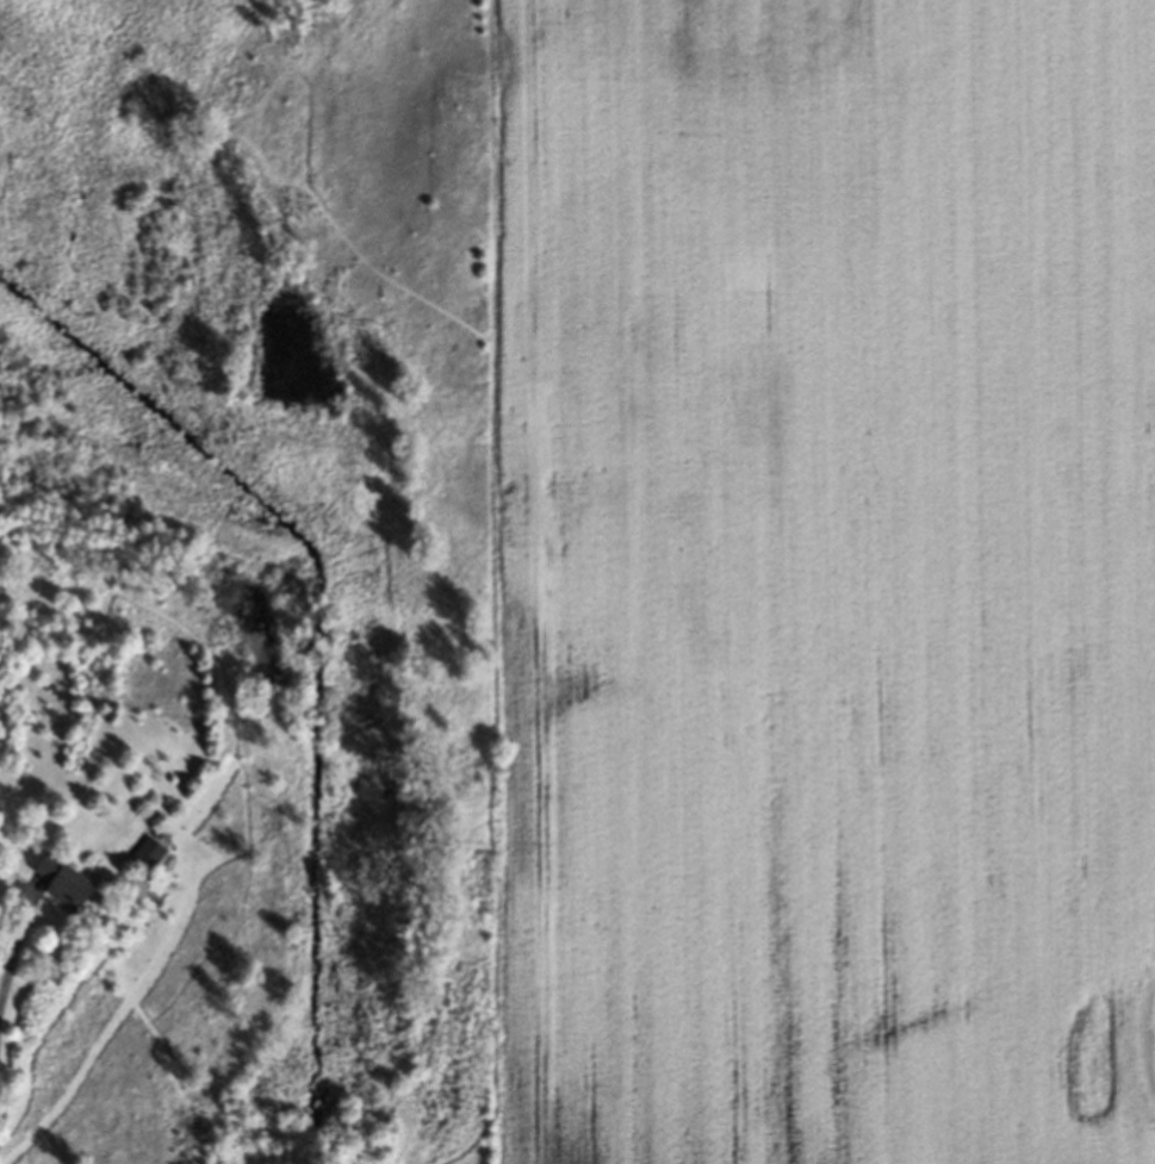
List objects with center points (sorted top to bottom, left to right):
building: (58, 885)
road: (12, 941)

